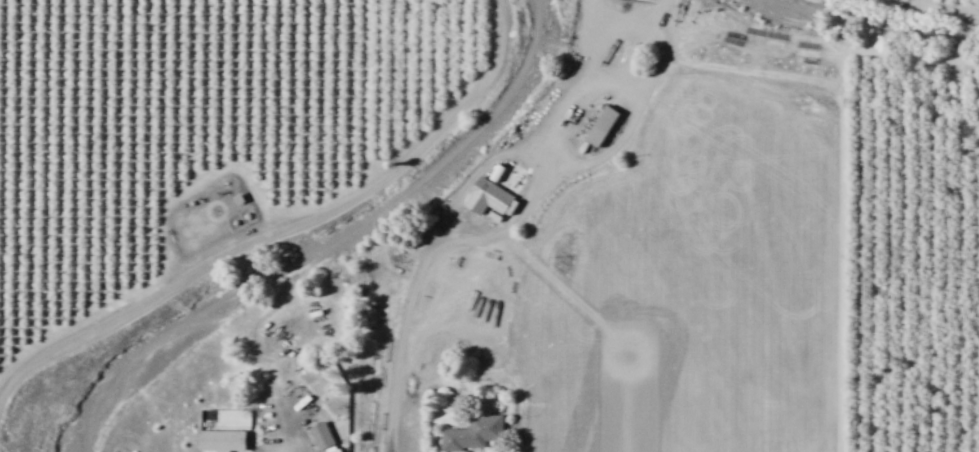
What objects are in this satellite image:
road: (941, 6)
road: (369, 90)
building: (601, 125)
road: (842, 184)
building: (489, 198)
road: (290, 227)
road: (408, 309)
road: (265, 401)
building: (472, 433)
building: (321, 435)
building: (221, 440)

